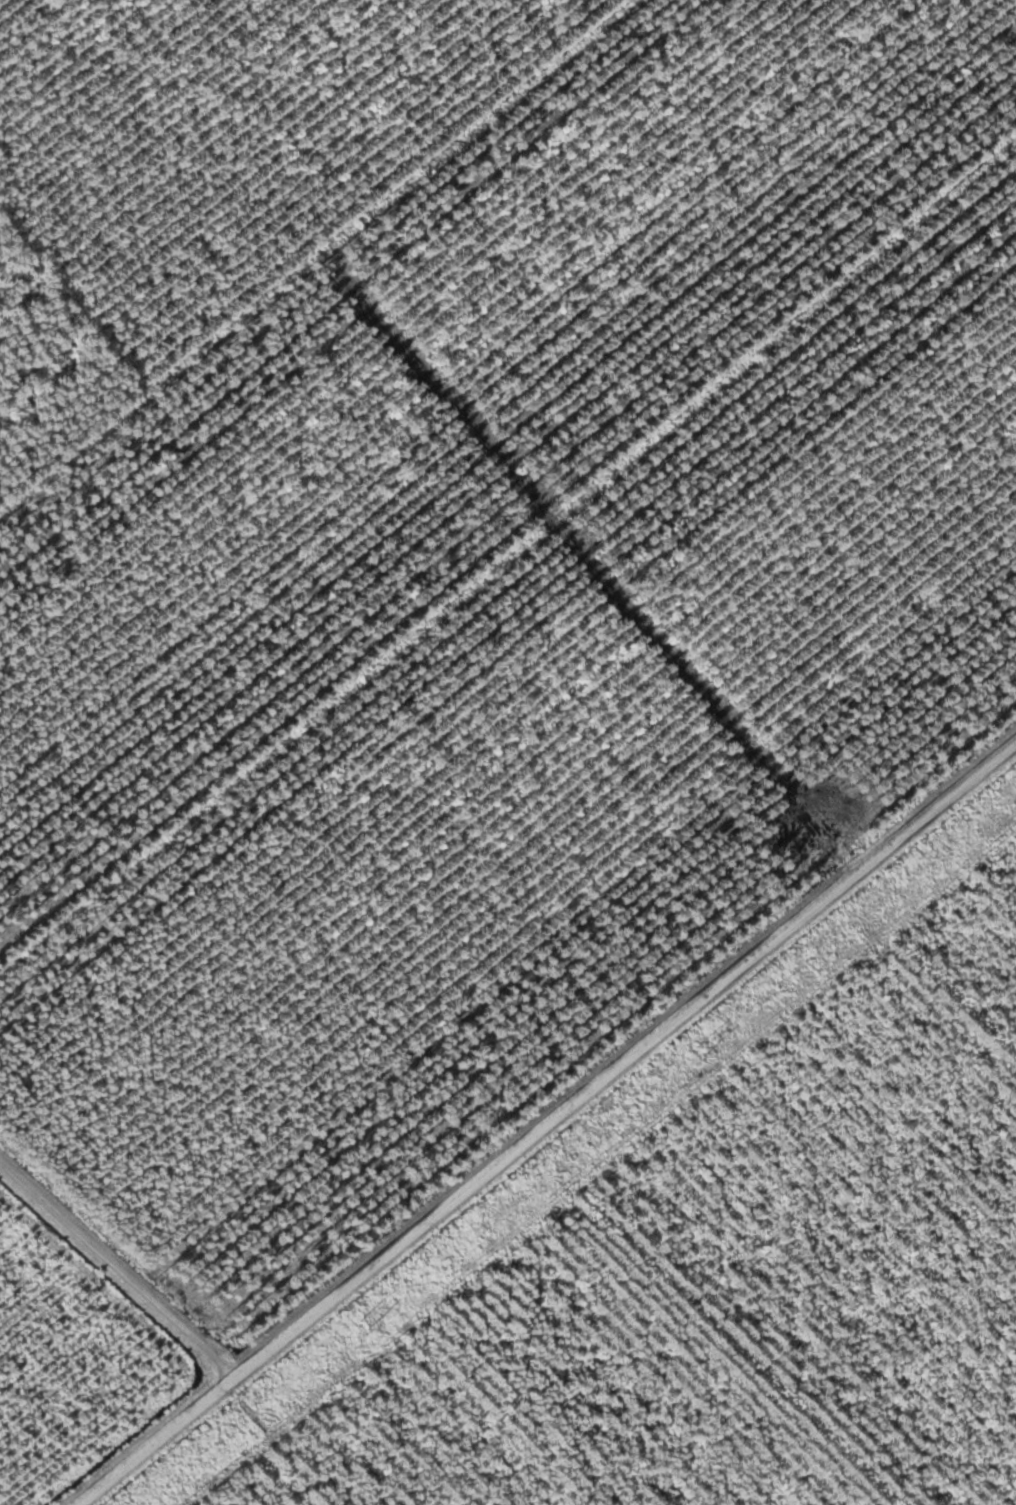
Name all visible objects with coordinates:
power tower: (714, 1047)
road: (547, 1124)
road: (118, 1271)
power tower: (370, 1323)

